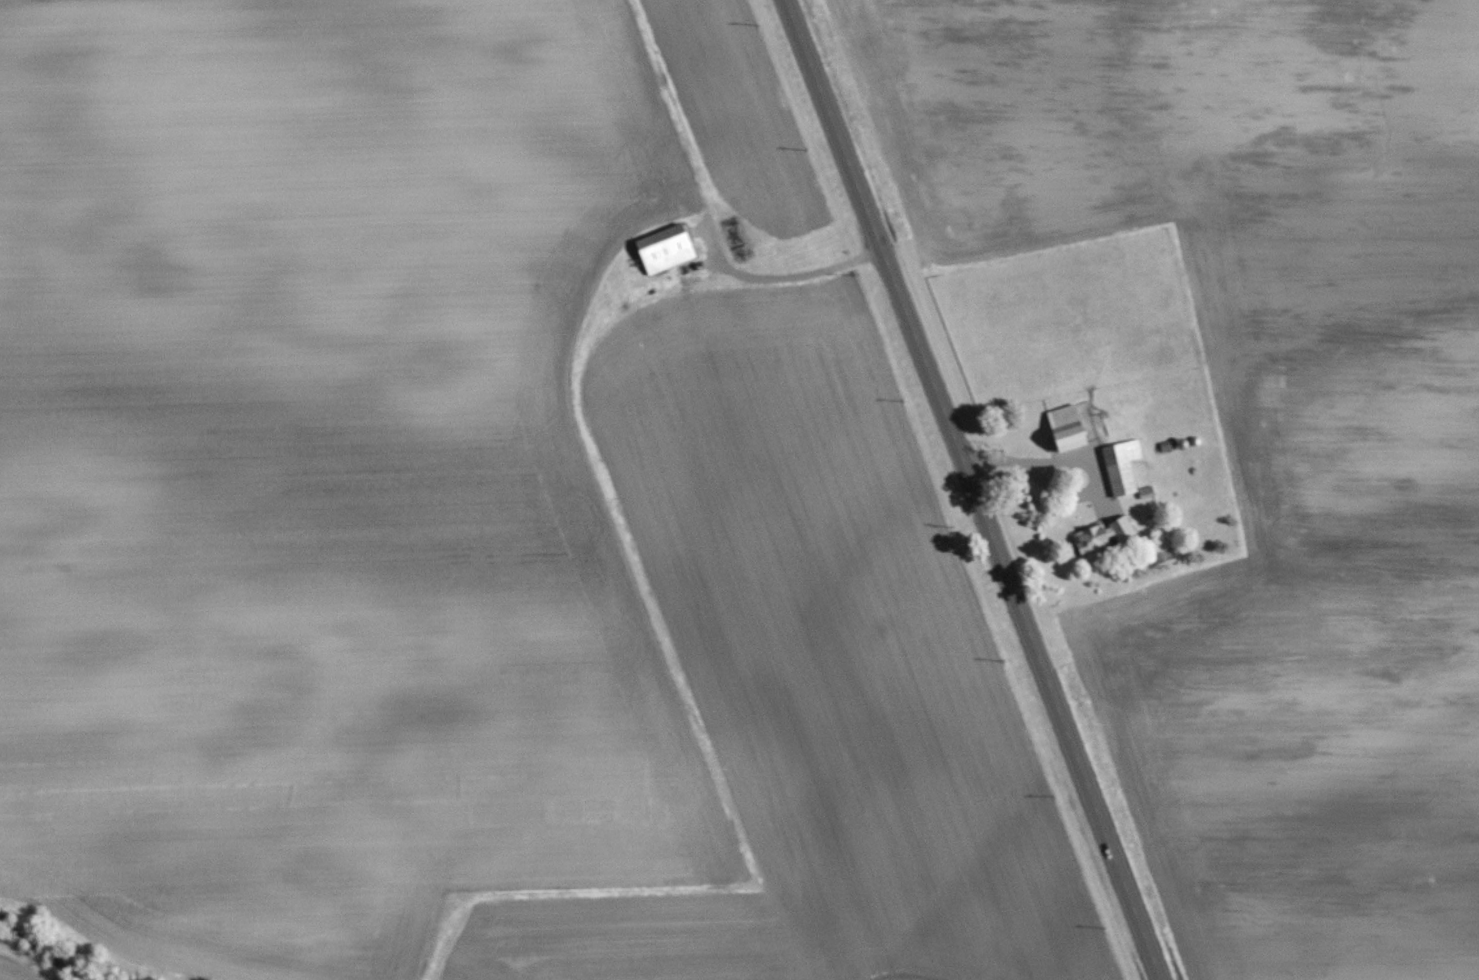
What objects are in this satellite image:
building: (666, 248)
road: (796, 276)
building: (1069, 427)
road: (1083, 461)
building: (1122, 466)
road: (972, 490)
building: (1105, 535)

